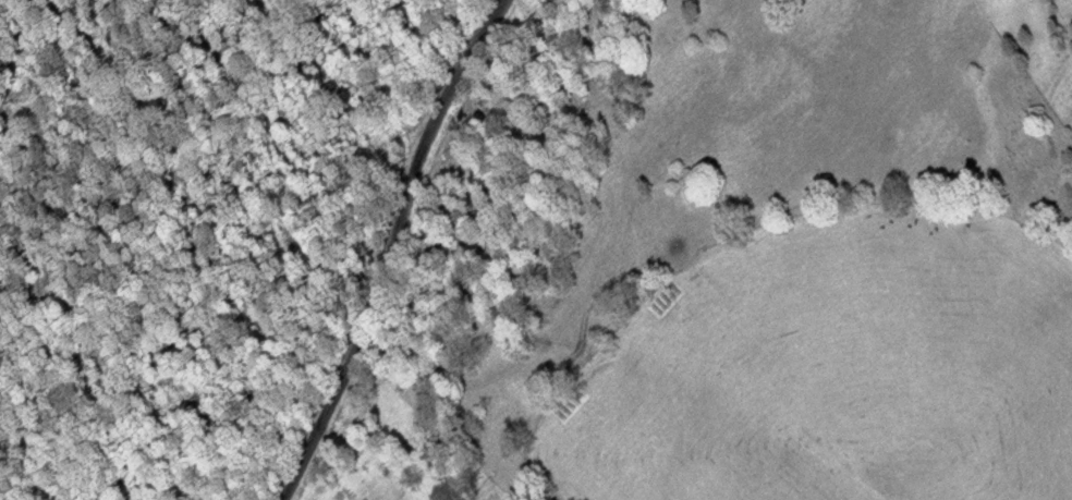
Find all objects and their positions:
road: (392, 251)

